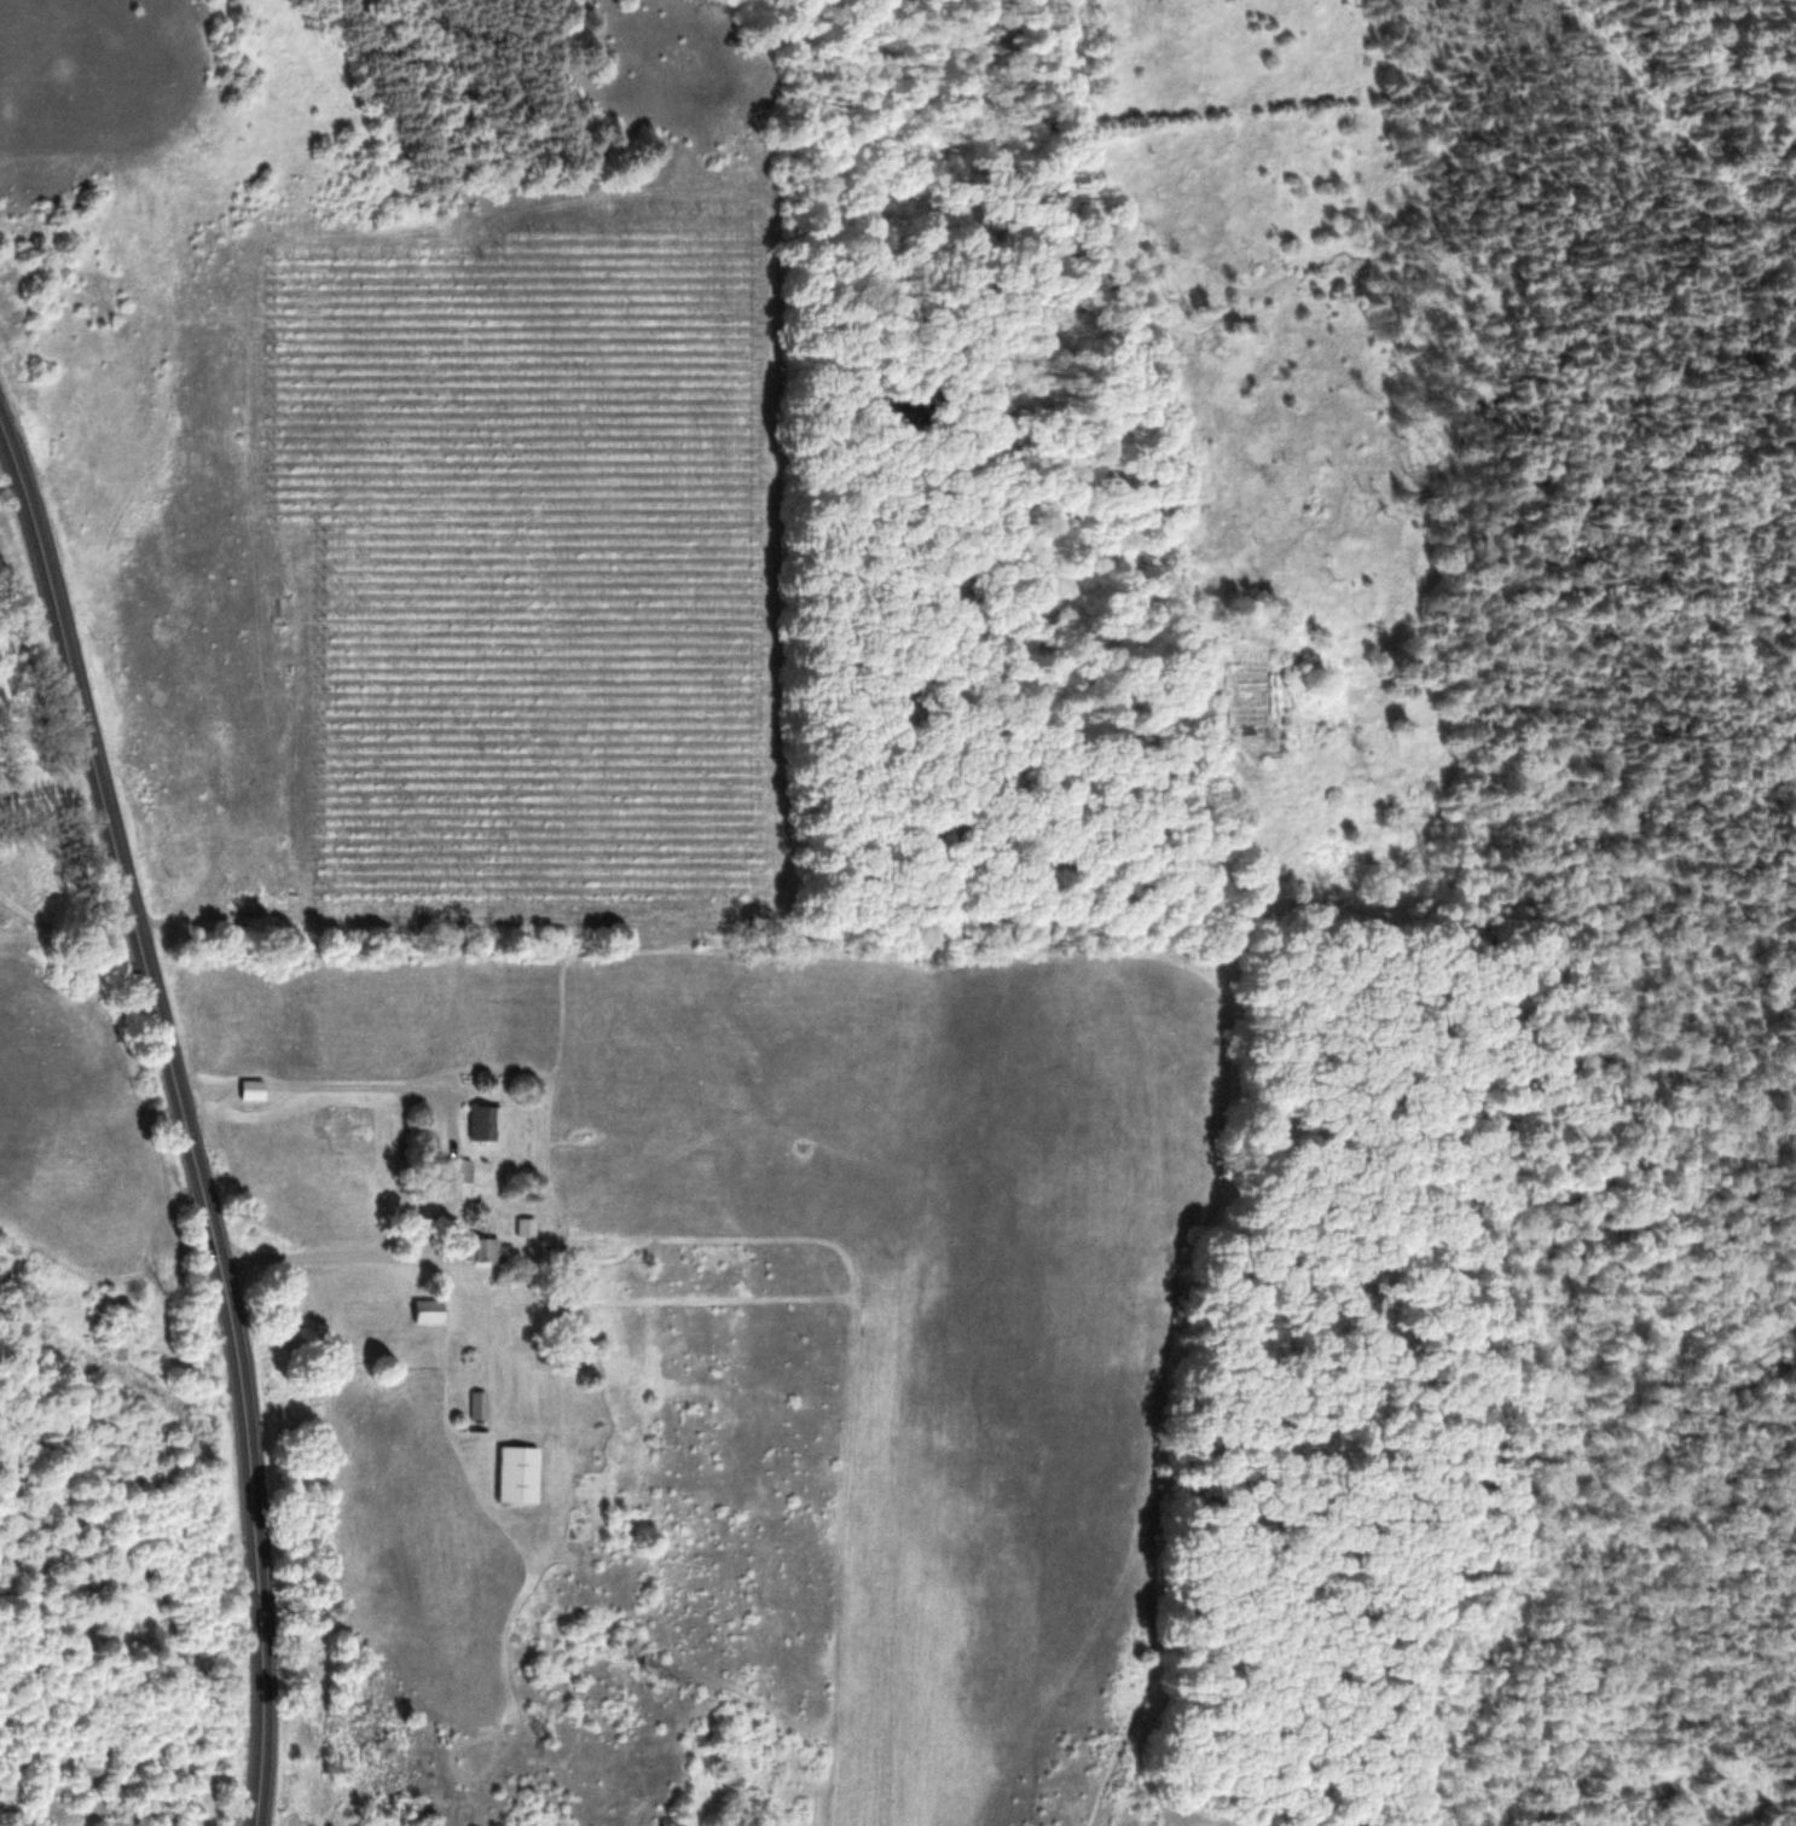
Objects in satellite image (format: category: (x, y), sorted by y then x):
building: (253, 1089)
road: (185, 1117)
building: (485, 1123)
road: (448, 1161)
building: (527, 1227)
building: (494, 1251)
building: (429, 1311)
building: (477, 1408)
building: (521, 1474)

